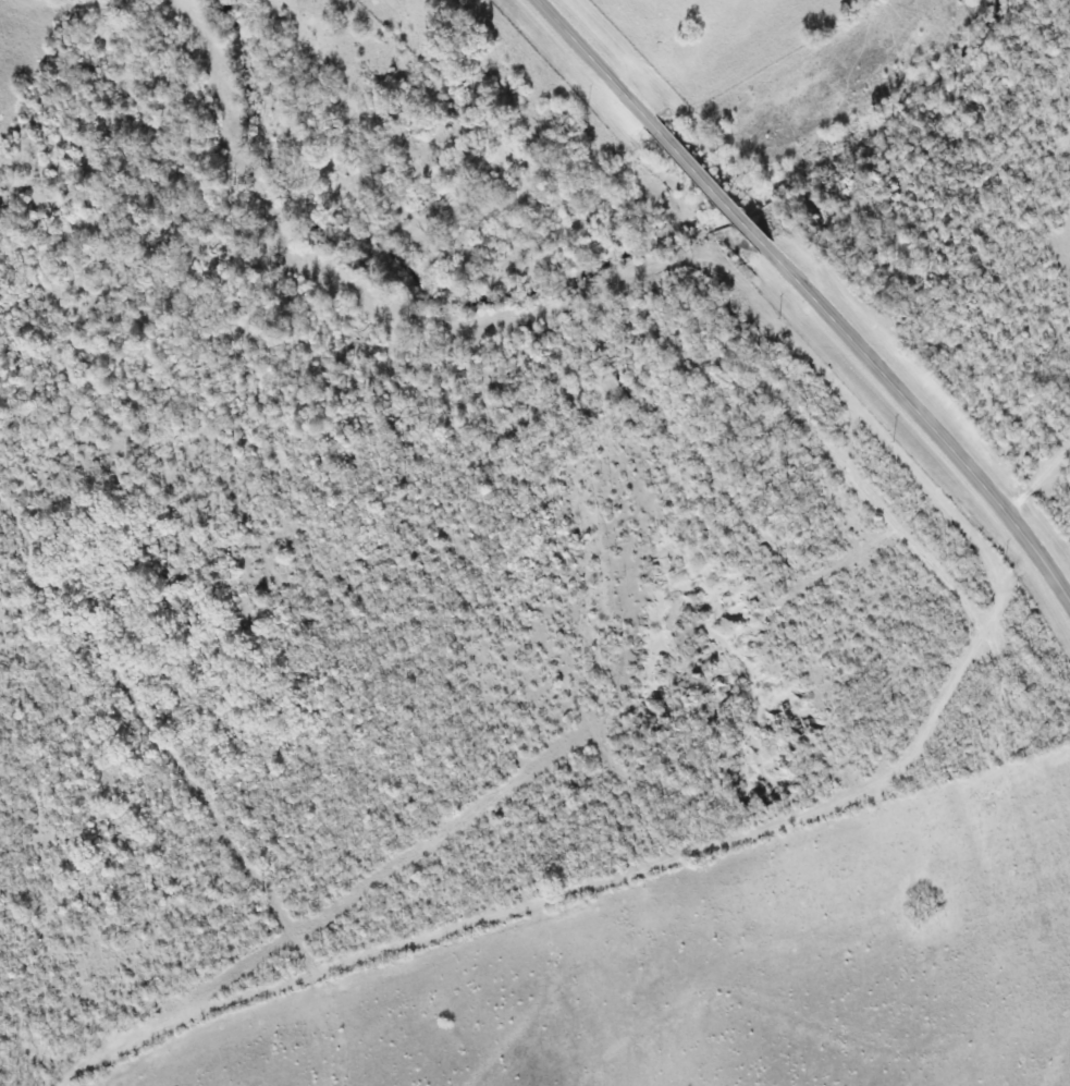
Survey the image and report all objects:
road: (815, 293)
road: (1050, 533)

